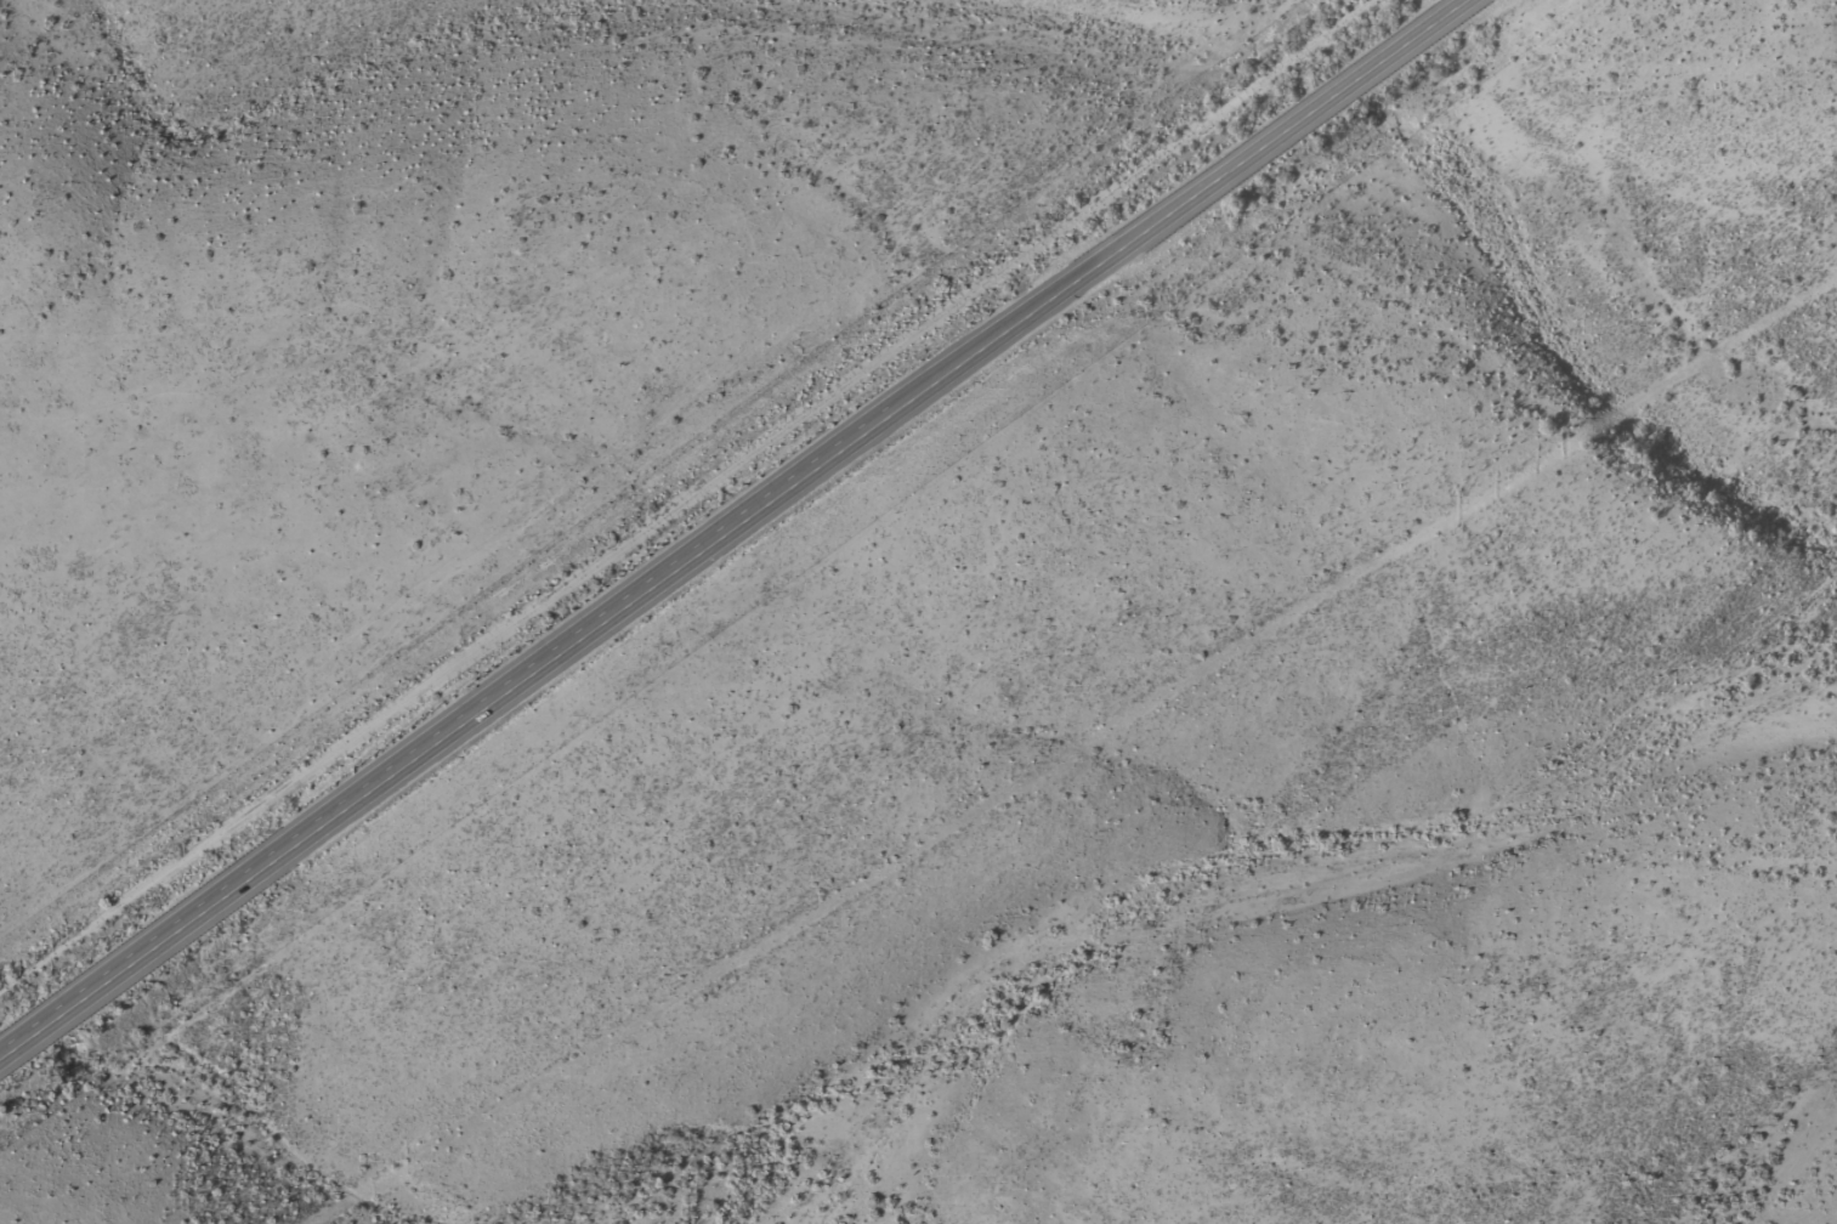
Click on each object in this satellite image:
road: (1185, 204)
road: (453, 731)

